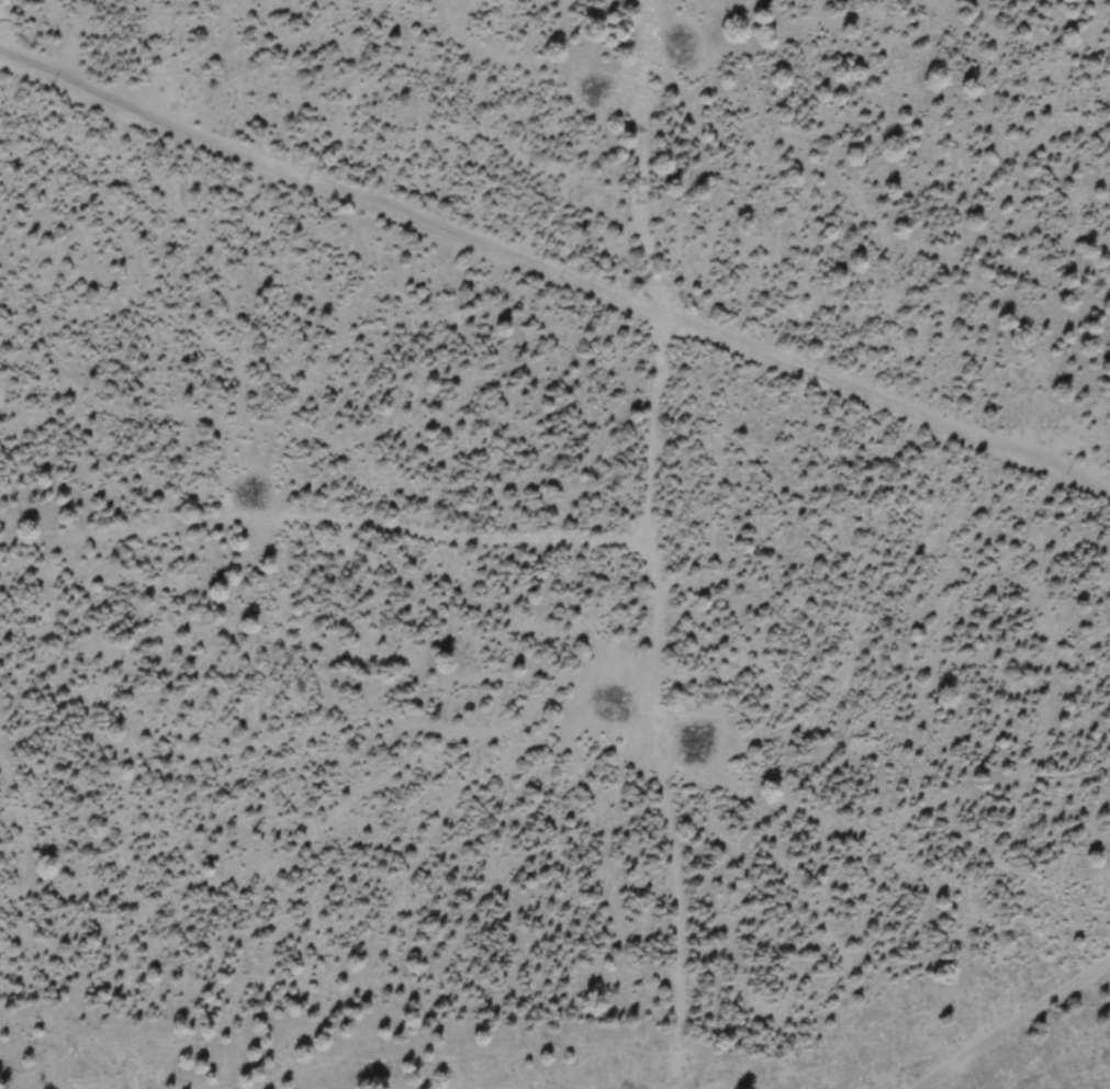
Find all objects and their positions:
road: (9, 36)
road: (553, 278)
road: (325, 524)
road: (653, 546)
road: (1009, 1020)

